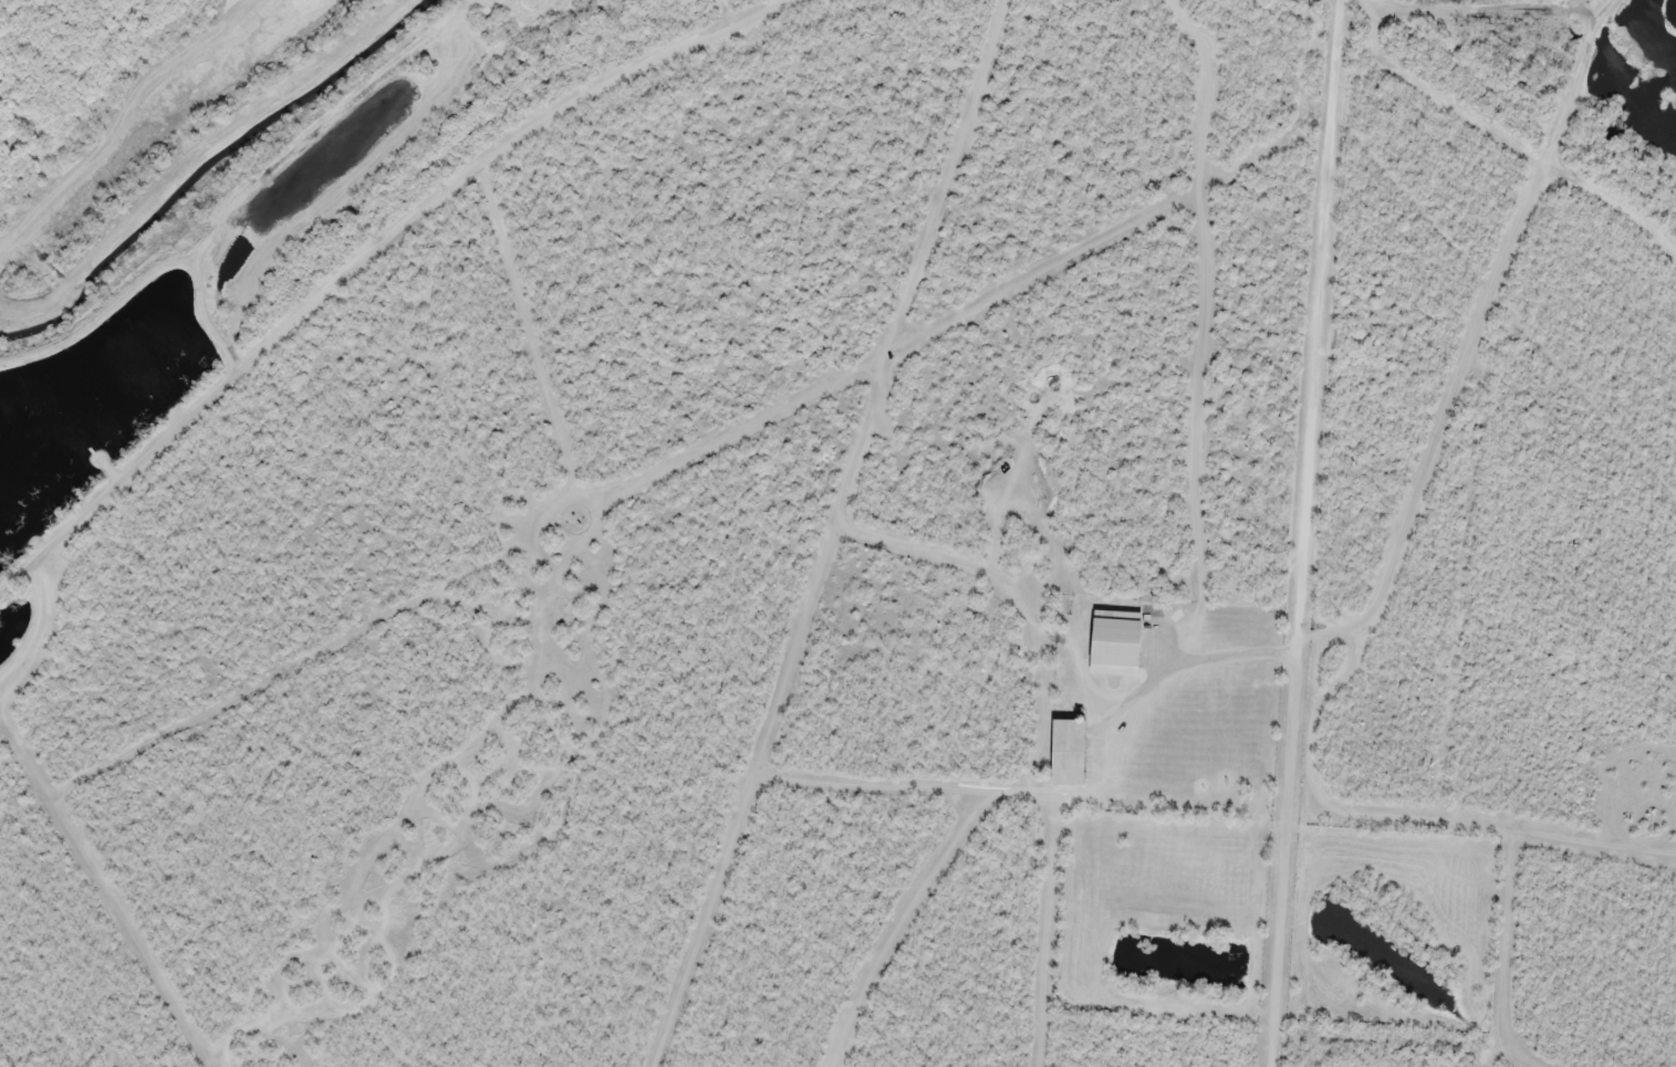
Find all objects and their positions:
road: (1310, 533)
building: (1114, 641)
building: (1068, 751)

